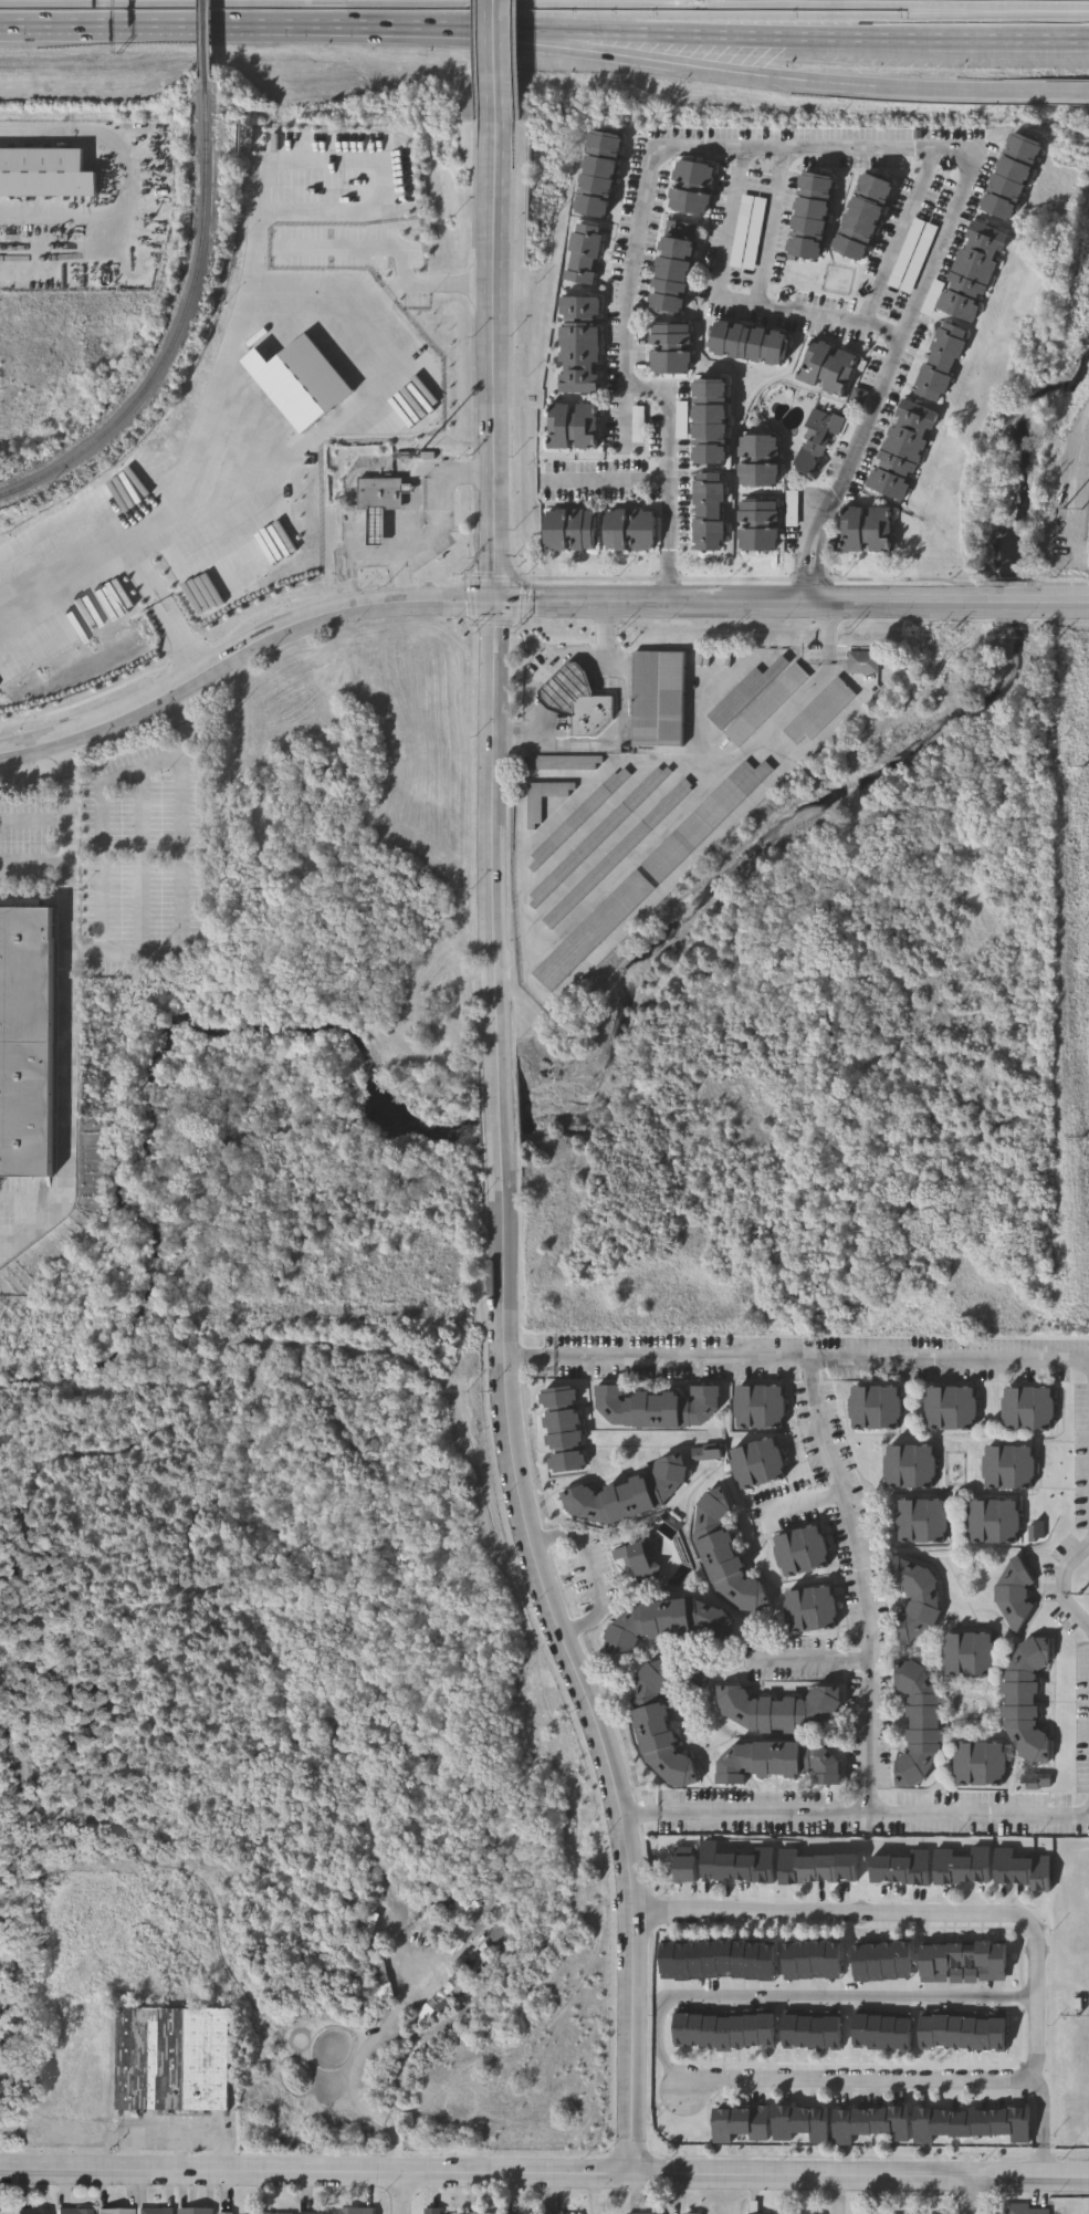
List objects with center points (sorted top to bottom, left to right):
road: (909, 14)
road: (682, 24)
road: (432, 27)
road: (196, 28)
road: (554, 29)
road: (753, 34)
road: (980, 39)
railway: (208, 41)
road: (501, 61)
road: (739, 72)
road: (737, 164)
building: (45, 174)
building: (600, 174)
building: (1015, 178)
building: (693, 187)
road: (116, 190)
building: (814, 217)
building: (869, 219)
road: (896, 236)
building: (584, 254)
building: (975, 272)
building: (673, 278)
road: (917, 302)
railway: (180, 331)
building: (751, 344)
building: (579, 346)
road: (625, 346)
building: (670, 349)
building: (944, 364)
building: (829, 369)
road: (218, 391)
building: (684, 424)
building: (712, 424)
building: (574, 427)
building: (641, 428)
building: (817, 440)
building: (907, 452)
building: (760, 462)
road: (605, 490)
road: (840, 492)
building: (379, 493)
power tower: (1078, 510)
building: (794, 511)
building: (710, 513)
building: (758, 515)
building: (376, 526)
building: (568, 530)
building: (629, 530)
building: (870, 533)
road: (416, 535)
building: (758, 541)
road: (413, 574)
traffic signals: (496, 604)
road: (689, 604)
road: (985, 604)
road: (181, 624)
road: (241, 654)
building: (866, 666)
road: (546, 668)
building: (565, 688)
gas station: (565, 688)
building: (744, 693)
building: (660, 701)
building: (764, 704)
building: (818, 711)
building: (590, 714)
road: (622, 729)
building: (563, 762)
building: (533, 811)
building: (579, 816)
building: (704, 818)
building: (598, 835)
road: (143, 843)
building: (617, 853)
road: (34, 854)
building: (591, 930)
road: (69, 1009)
building: (30, 1043)
road: (503, 1156)
road: (532, 1357)
road: (682, 1357)
road: (949, 1358)
building: (656, 1404)
building: (760, 1406)
building: (875, 1407)
building: (951, 1408)
building: (1028, 1409)
building: (562, 1429)
building: (710, 1455)
building: (758, 1462)
building: (910, 1466)
building: (1009, 1468)
building: (625, 1493)
road: (803, 1504)
road: (846, 1508)
building: (921, 1521)
building: (994, 1522)
building: (803, 1549)
building: (723, 1553)
building: (637, 1567)
road: (591, 1573)
road: (1058, 1584)
building: (1014, 1592)
power tower: (1087, 1597)
building: (914, 1598)
building: (813, 1608)
building: (668, 1621)
building: (968, 1654)
road: (811, 1662)
building: (1025, 1701)
building: (778, 1708)
building: (917, 1726)
building: (659, 1727)
road: (870, 1738)
building: (775, 1762)
building: (983, 1766)
road: (753, 1815)
road: (971, 1815)
road: (641, 1820)
building: (739, 1863)
building: (962, 1866)
building: (688, 1867)
building: (902, 1868)
building: (823, 1870)
building: (1020, 1870)
road: (940, 1917)
building: (963, 1962)
road: (804, 1995)
building: (444, 1997)
power tower: (1088, 2016)
building: (725, 2029)
building: (962, 2032)
building: (174, 2060)
road: (860, 2084)
building: (742, 2122)
building: (972, 2122)
building: (871, 2123)
building: (806, 2126)
road: (177, 2135)
road: (1044, 2141)
road: (1044, 2162)
road: (415, 2171)
road: (959, 2175)
road: (398, 2192)
road: (971, 2195)
building: (1025, 2210)
building: (357, 2211)
building: (33, 2212)
building: (74, 2212)
building: (115, 2212)
building: (156, 2212)
building: (196, 2212)
building: (433, 2212)

